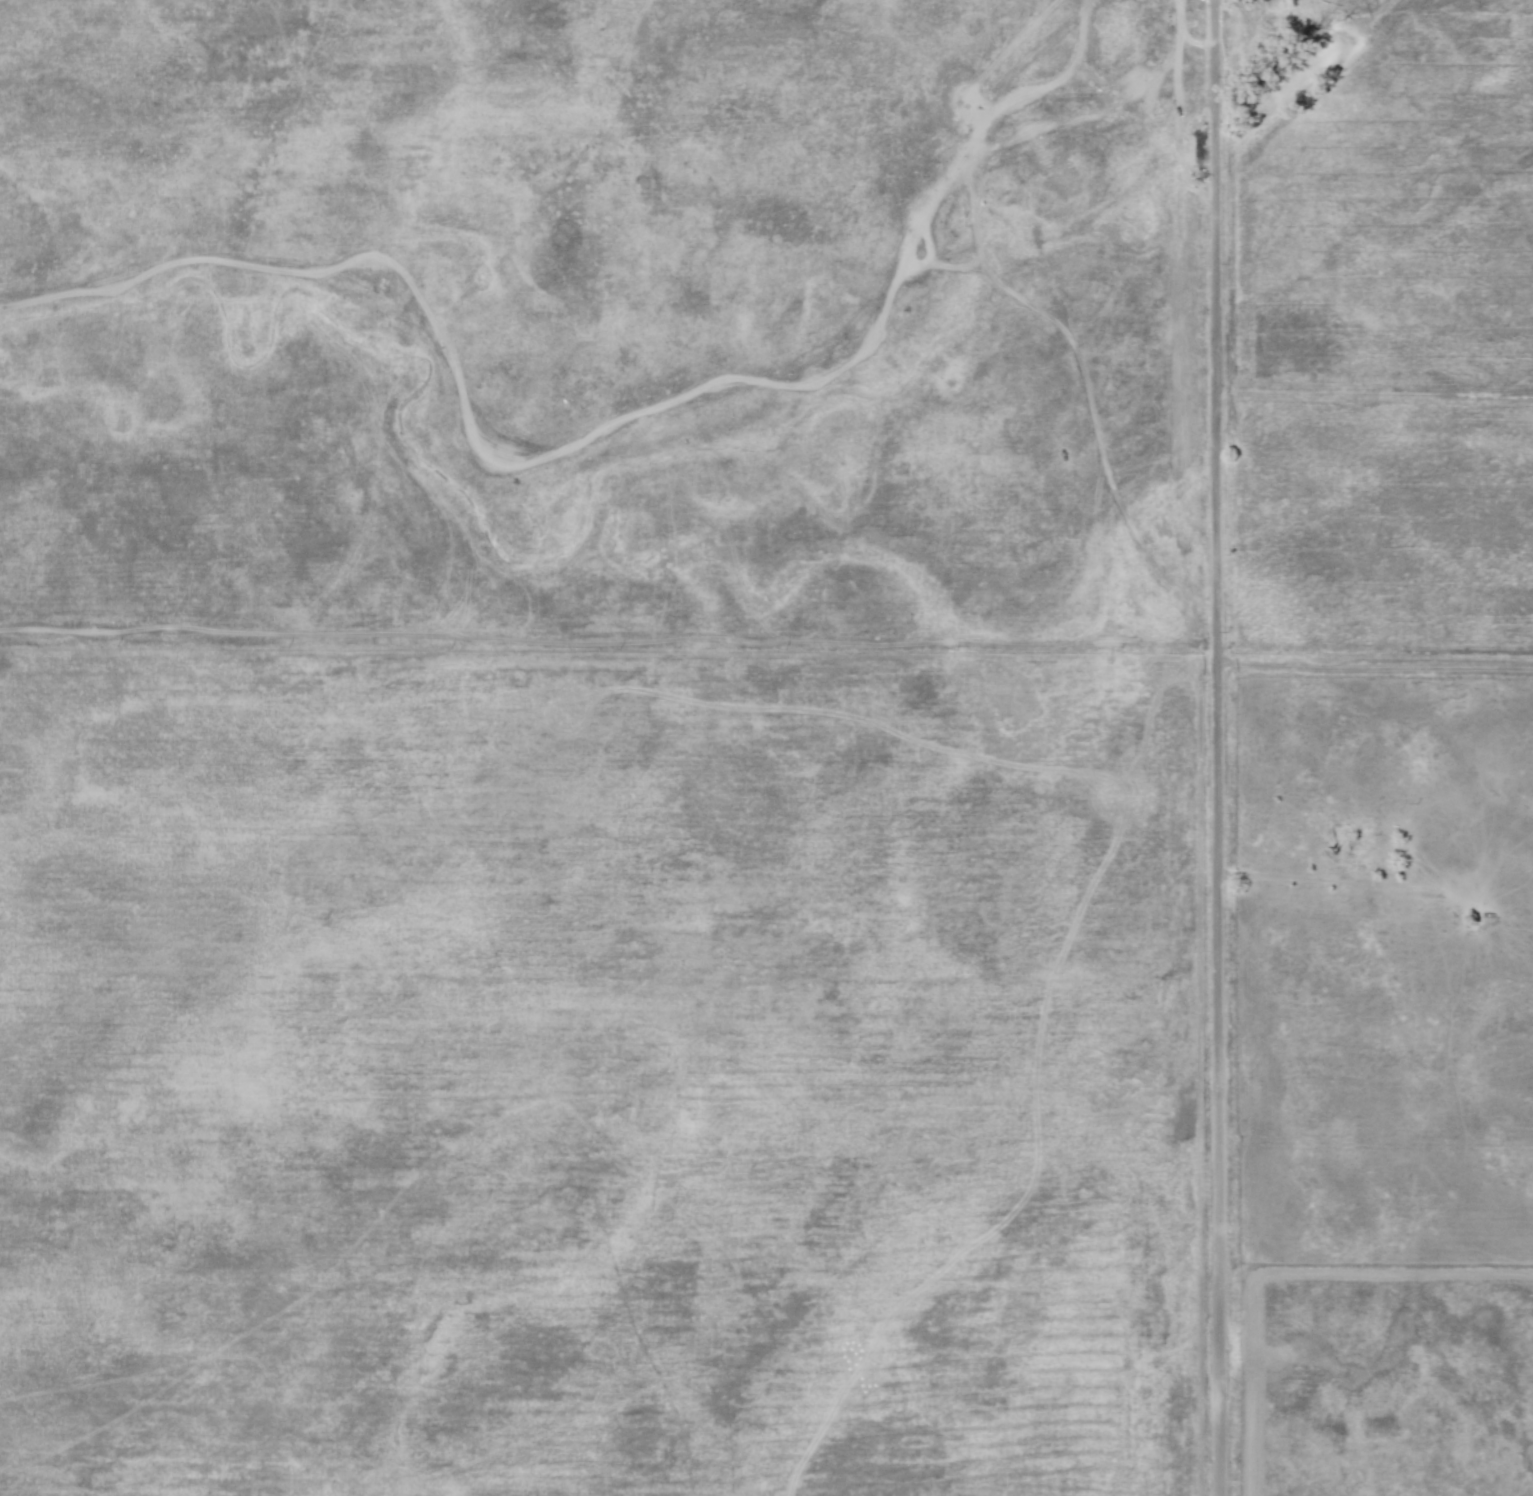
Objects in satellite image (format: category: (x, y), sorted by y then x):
road: (1373, 670)
road: (1215, 748)

